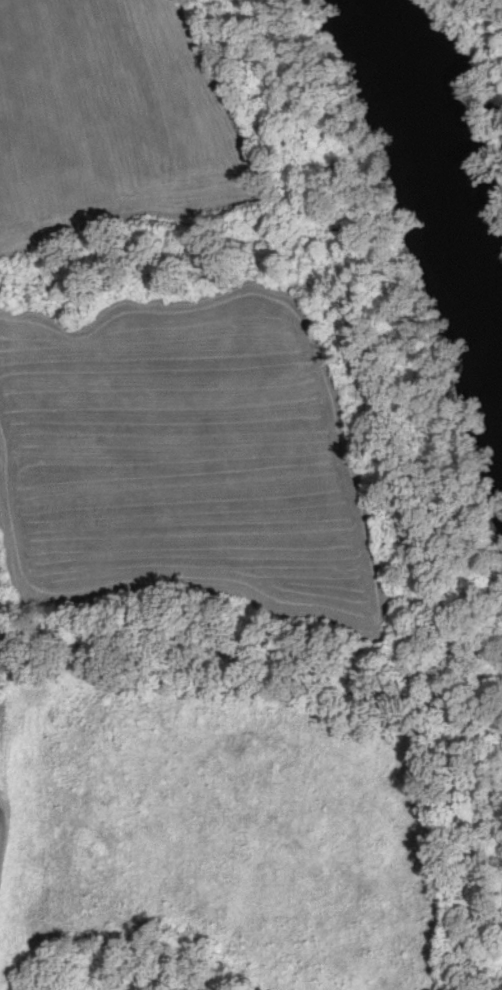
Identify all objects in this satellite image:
river: (456, 155)

